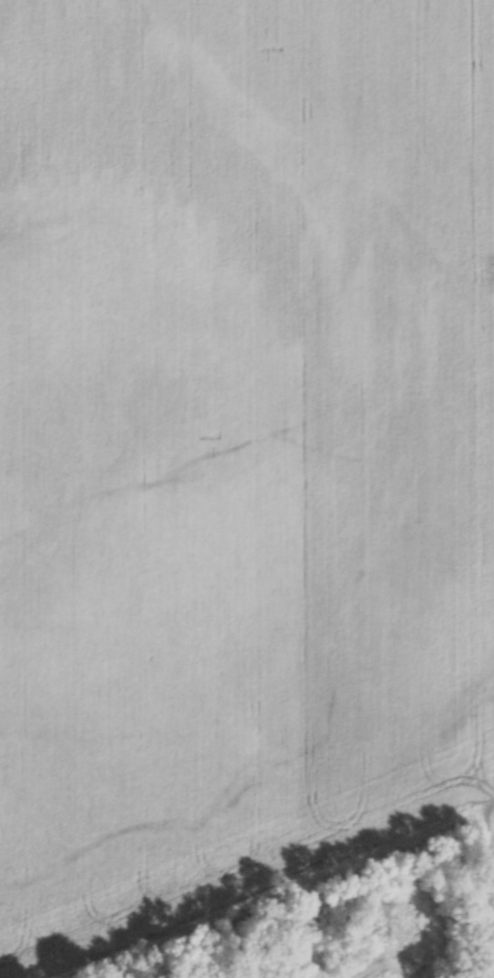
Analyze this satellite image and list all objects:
building: (411, 960)

